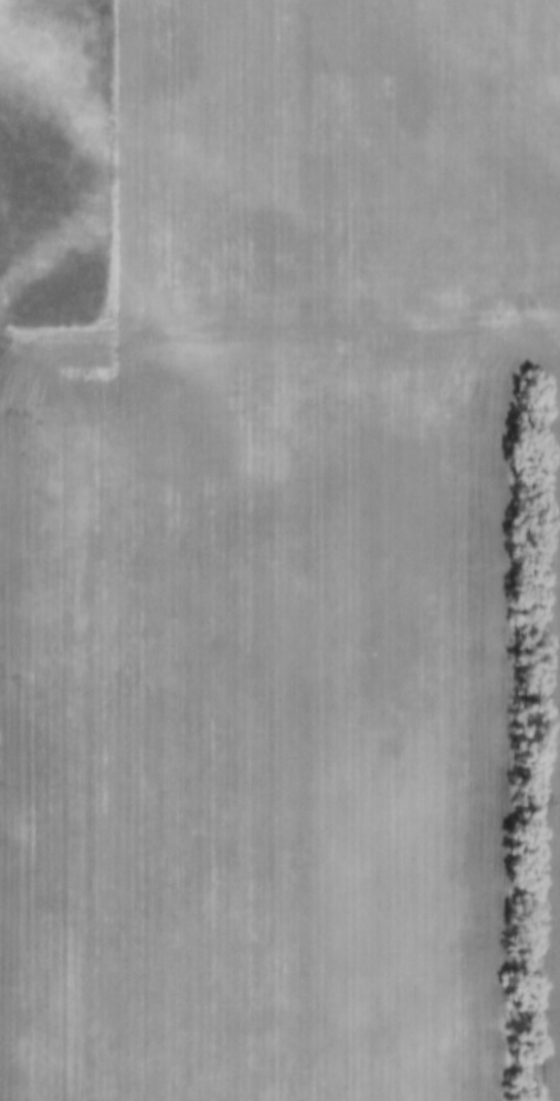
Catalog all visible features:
road: (278, 324)

